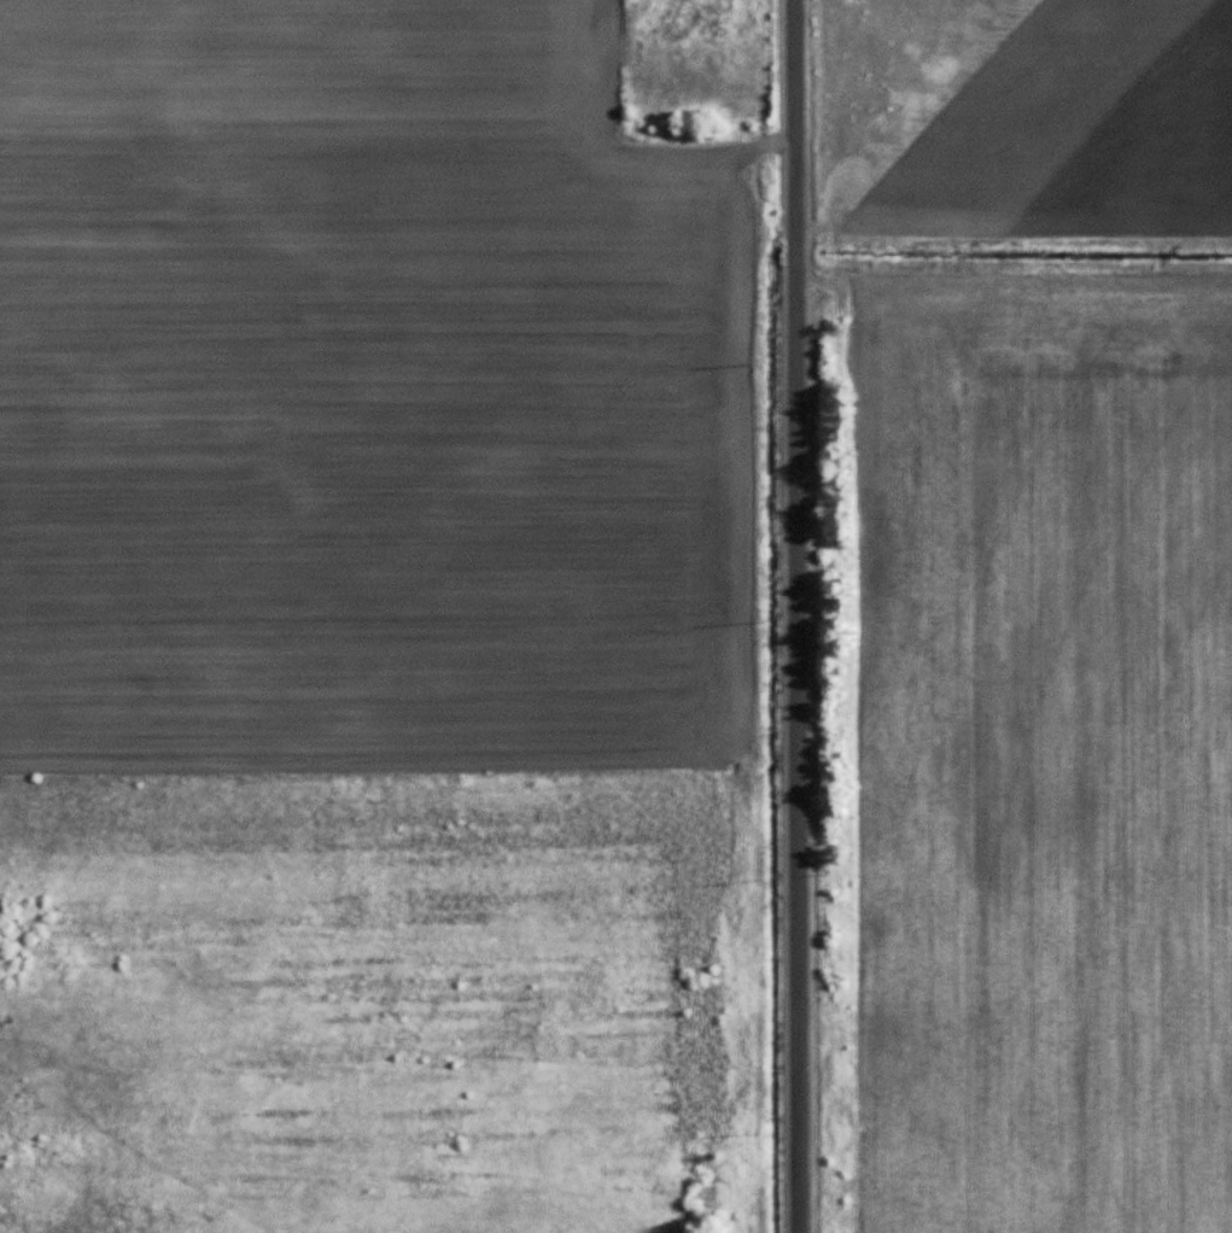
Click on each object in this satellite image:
road: (795, 615)

